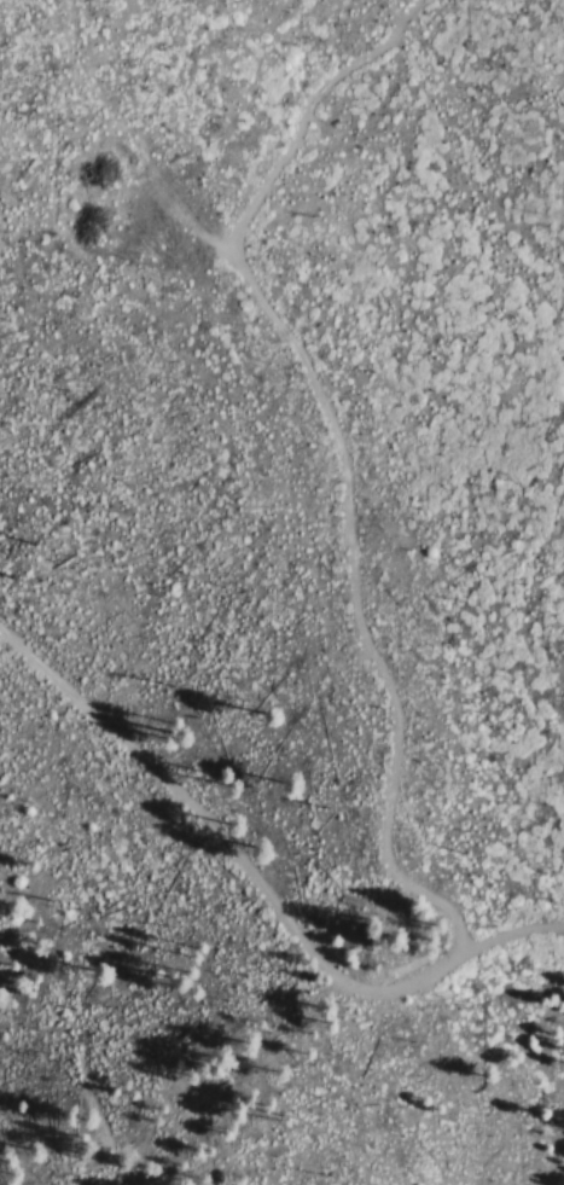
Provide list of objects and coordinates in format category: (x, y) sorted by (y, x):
road: (260, 883)

